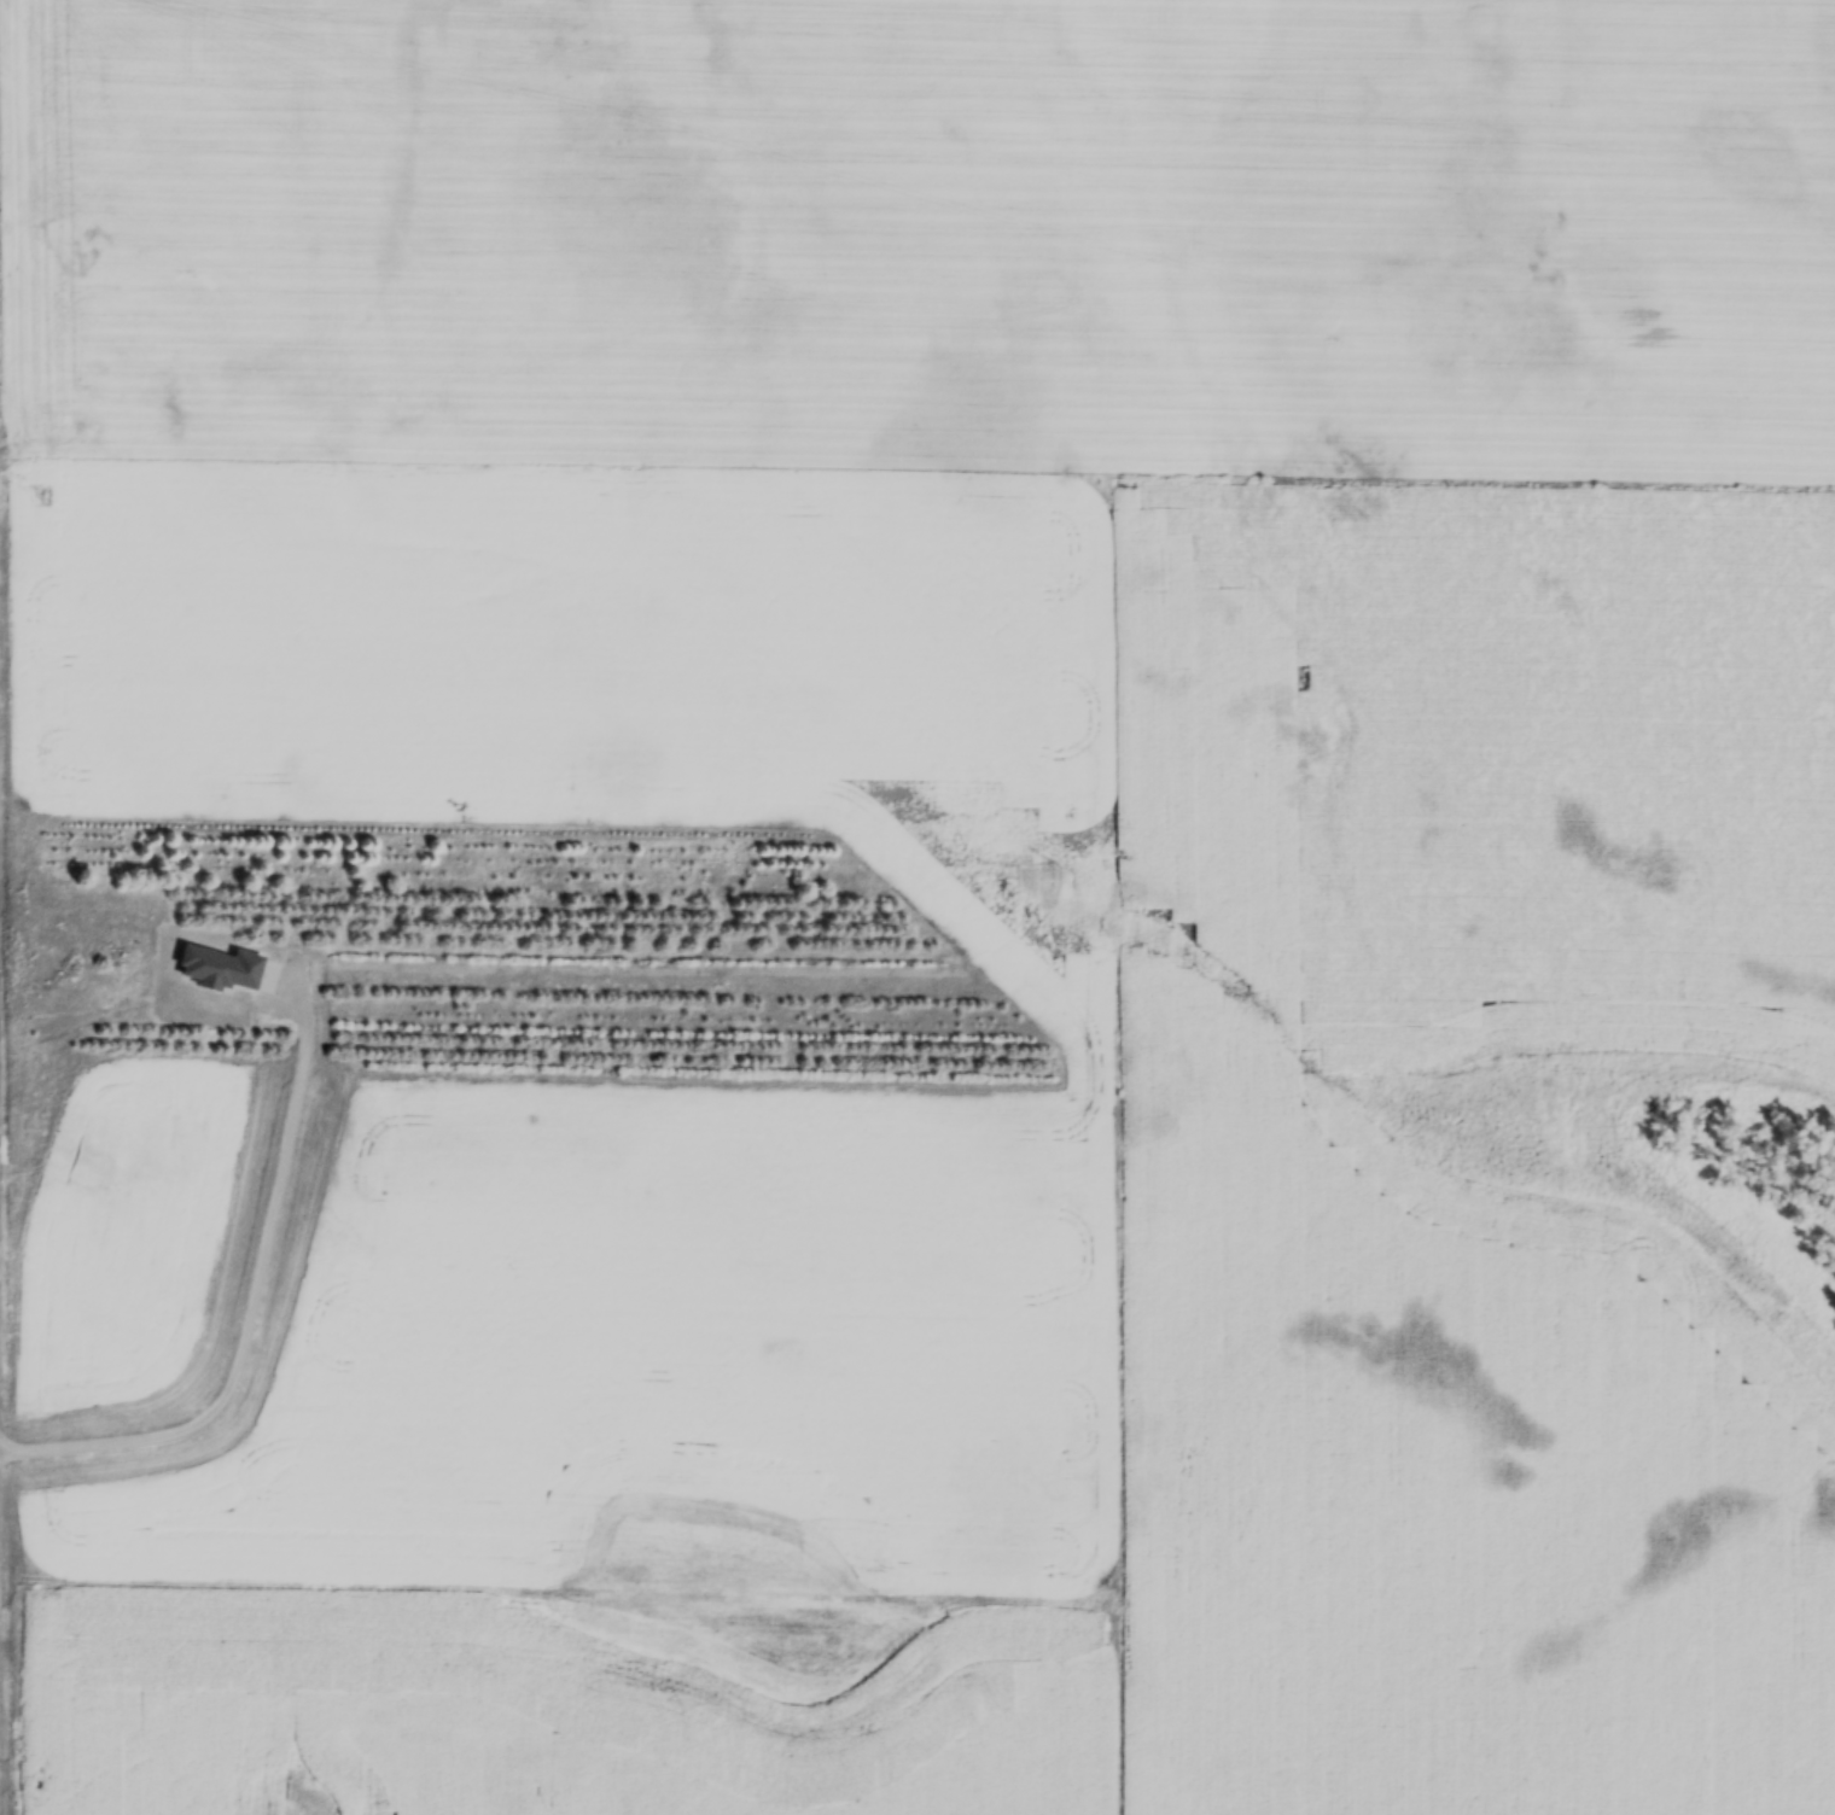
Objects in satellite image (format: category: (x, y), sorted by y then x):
road: (246, 1294)

